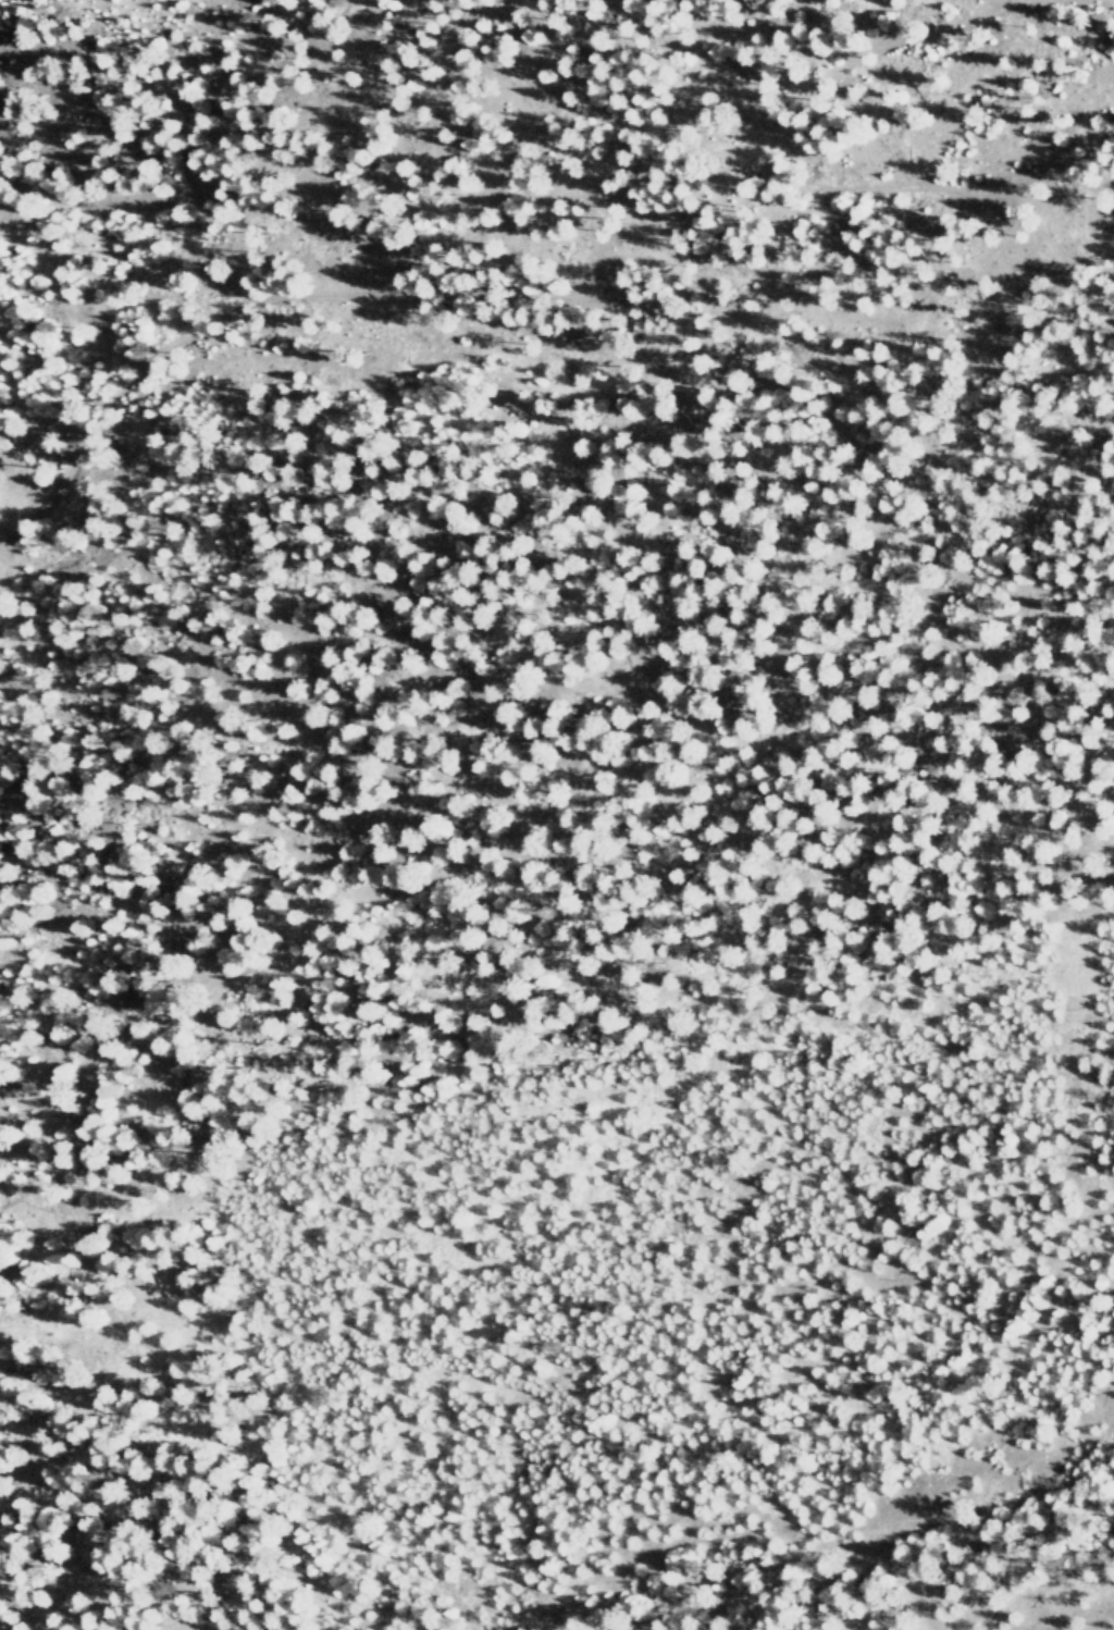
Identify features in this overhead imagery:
road: (618, 342)

